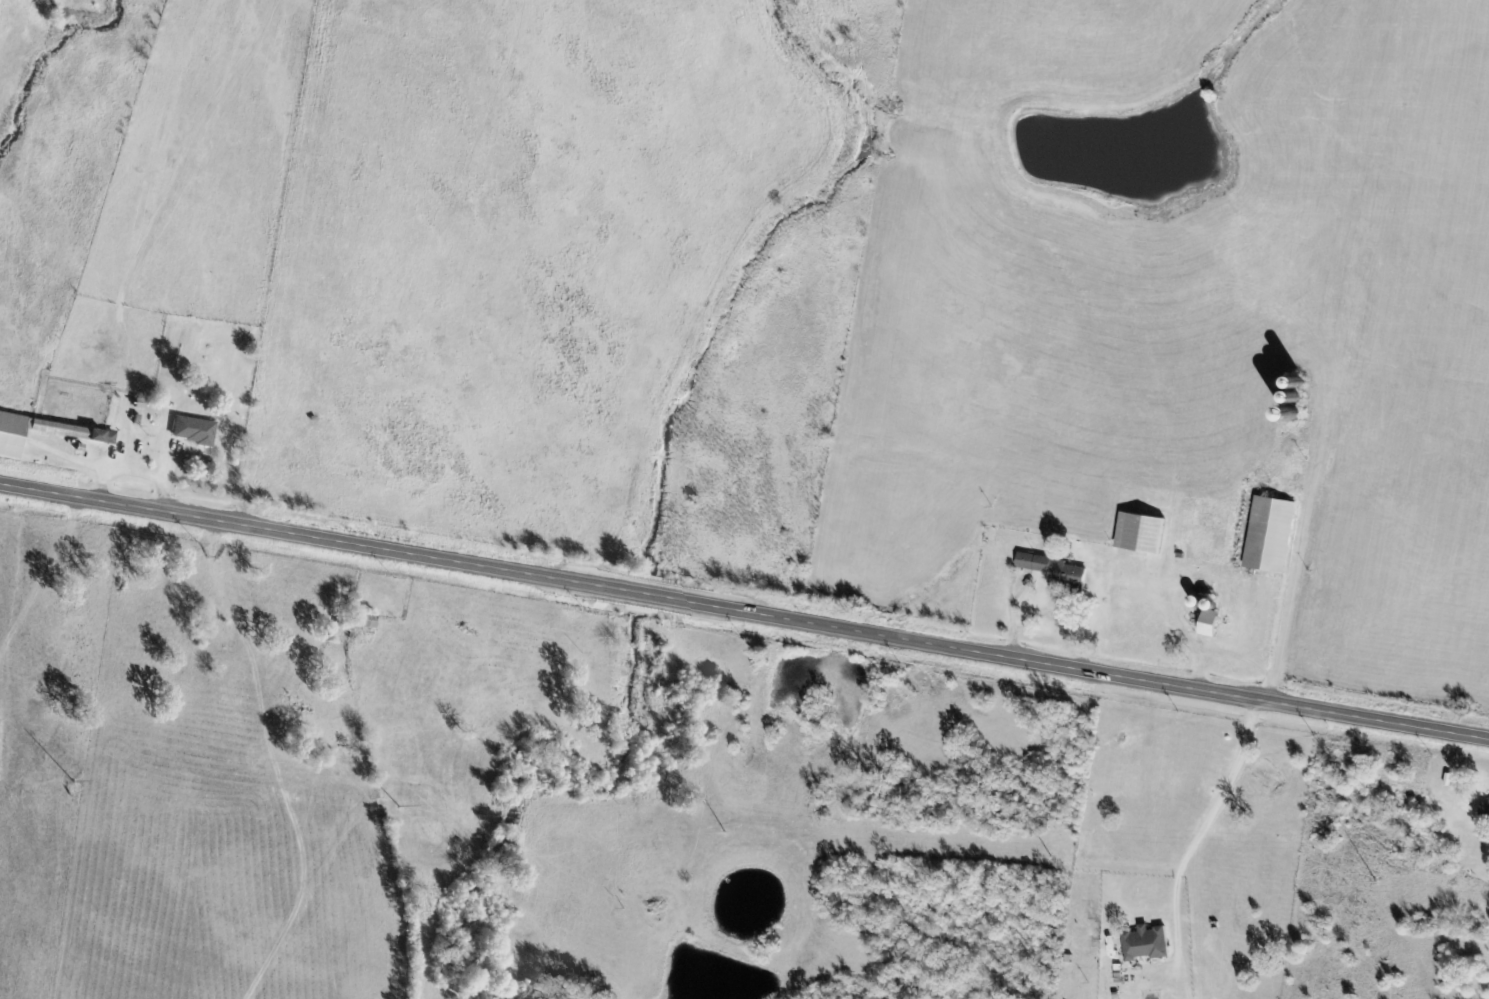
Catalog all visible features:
building: (194, 432)
building: (12, 437)
building: (1143, 535)
building: (1272, 536)
building: (1058, 572)
road: (744, 611)
building: (1212, 621)
building: (1485, 812)
road: (1199, 817)
building: (1147, 945)

